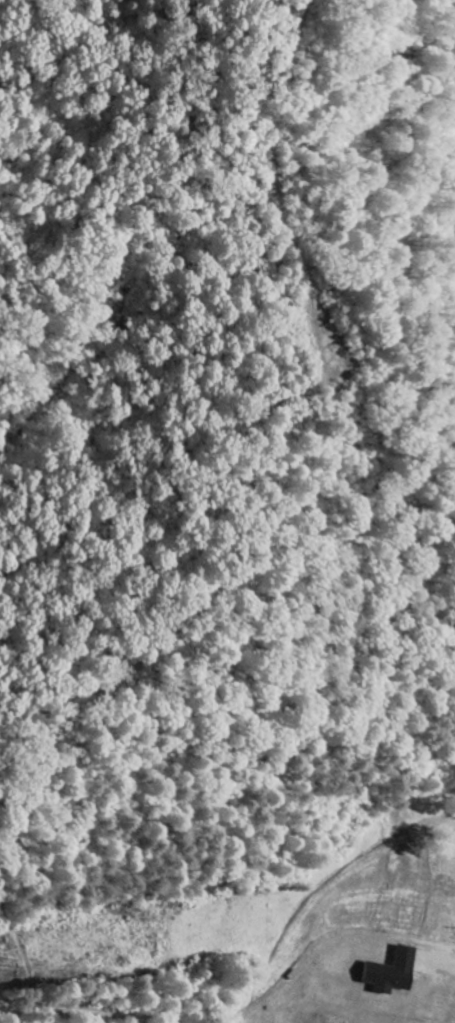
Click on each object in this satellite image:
power tower: (16, 960)
building: (389, 973)
road: (79, 1009)

